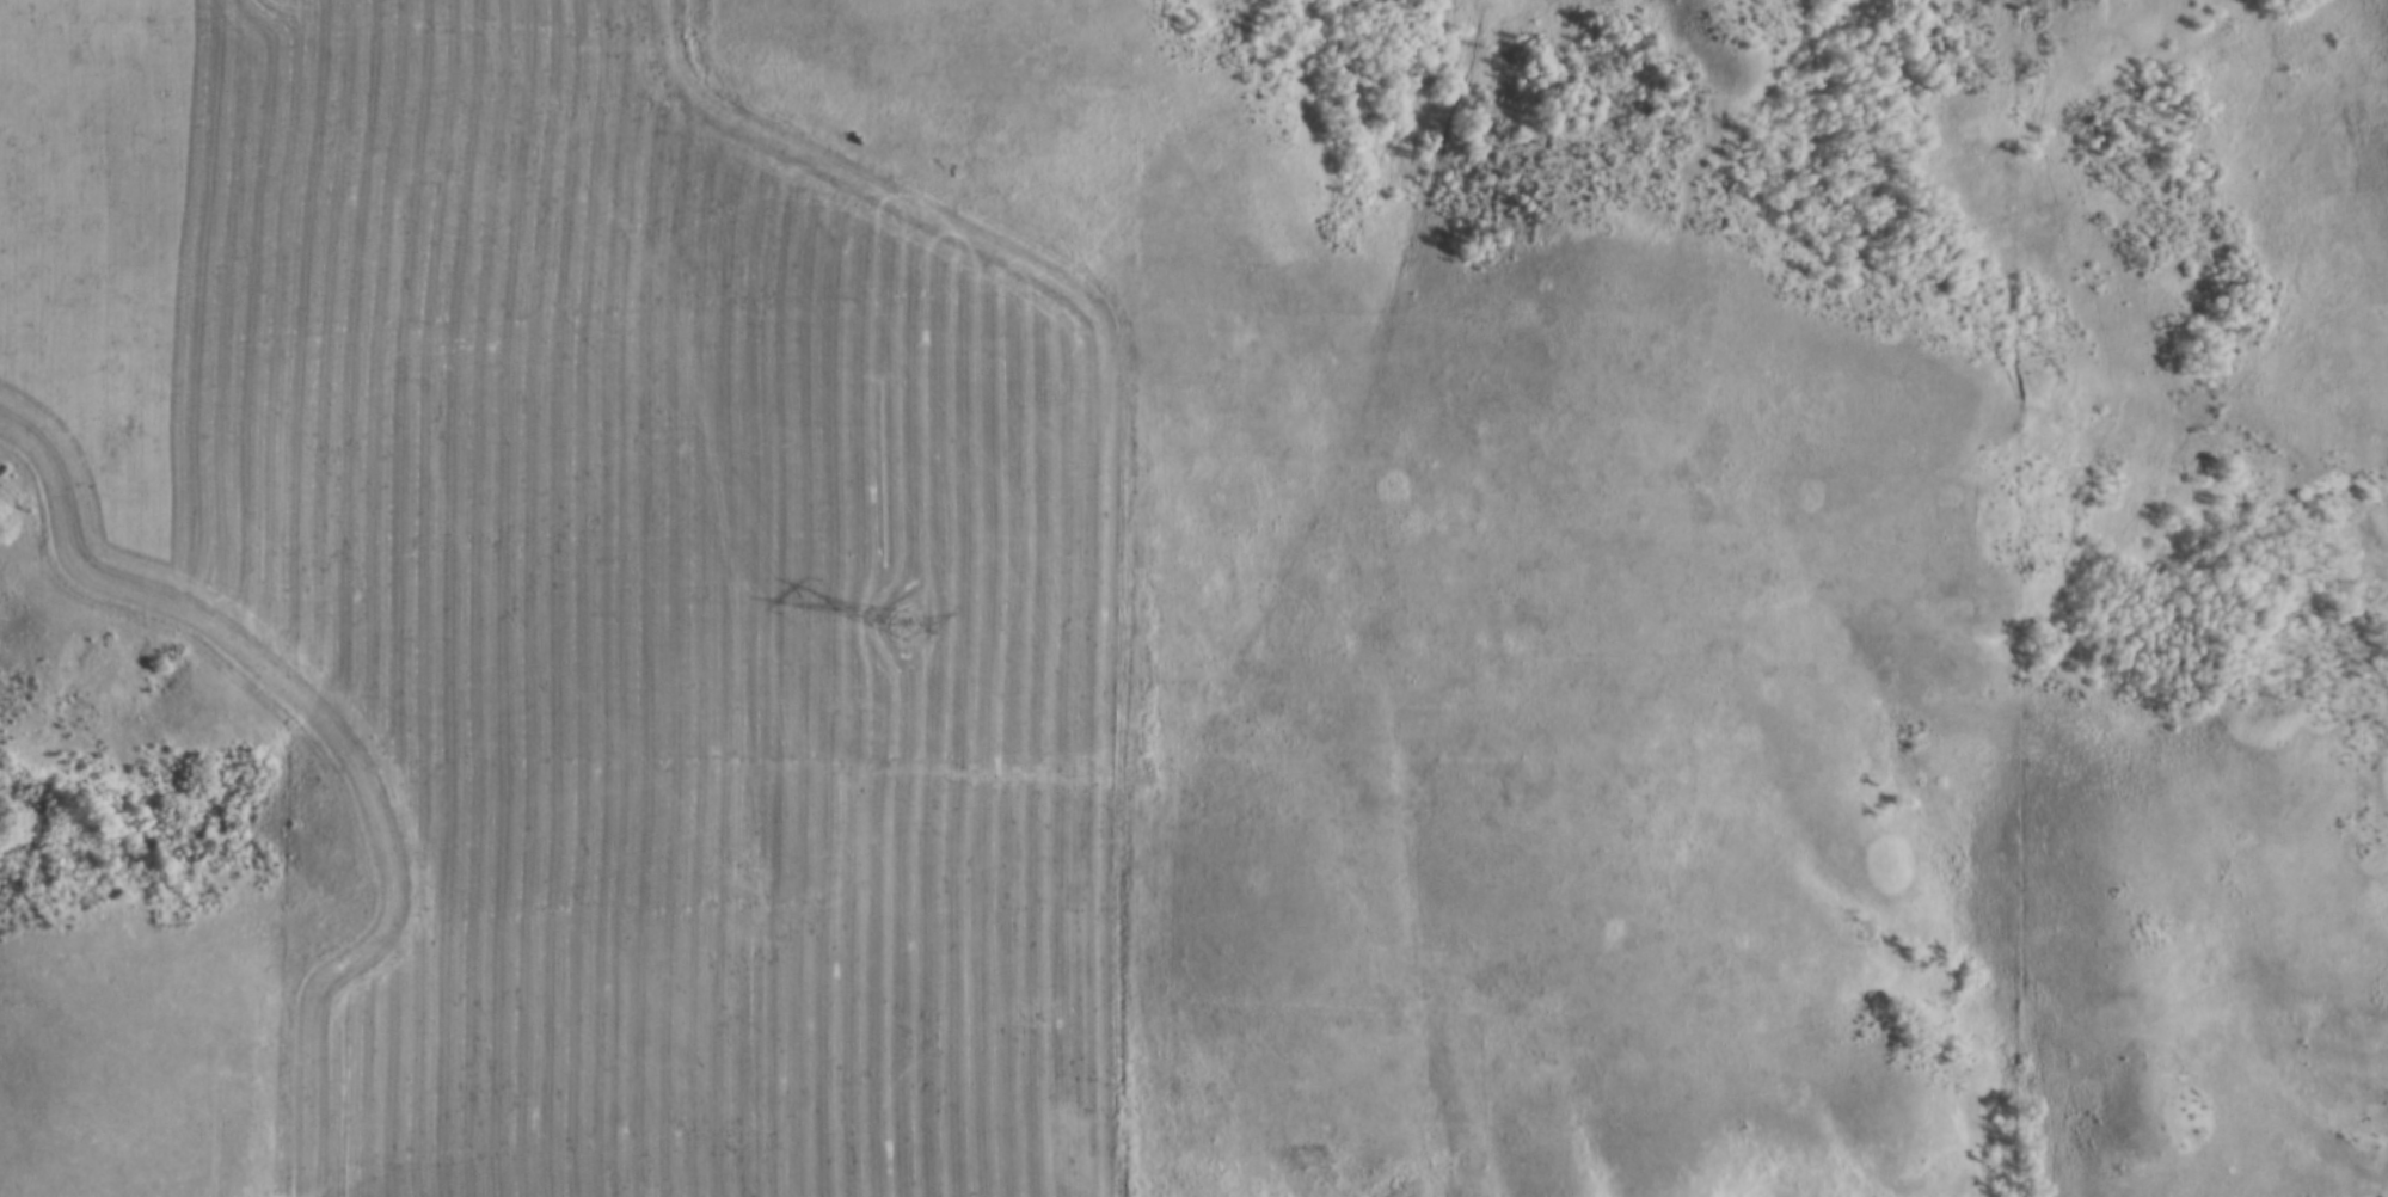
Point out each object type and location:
power tower: (892, 632)

